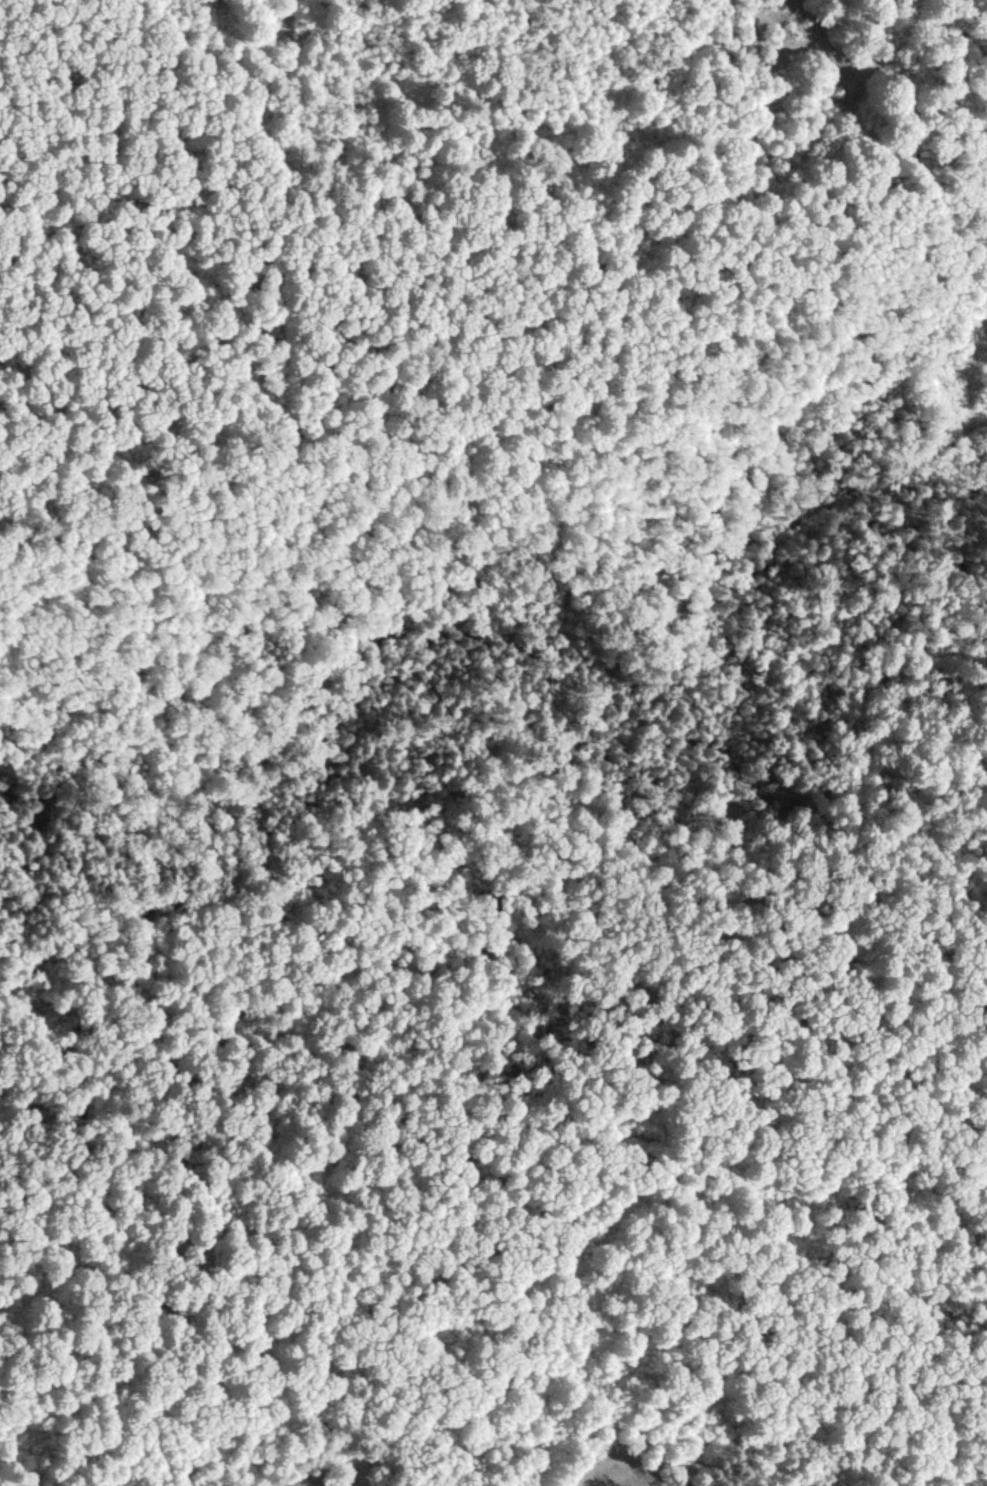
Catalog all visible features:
river: (461, 611)

